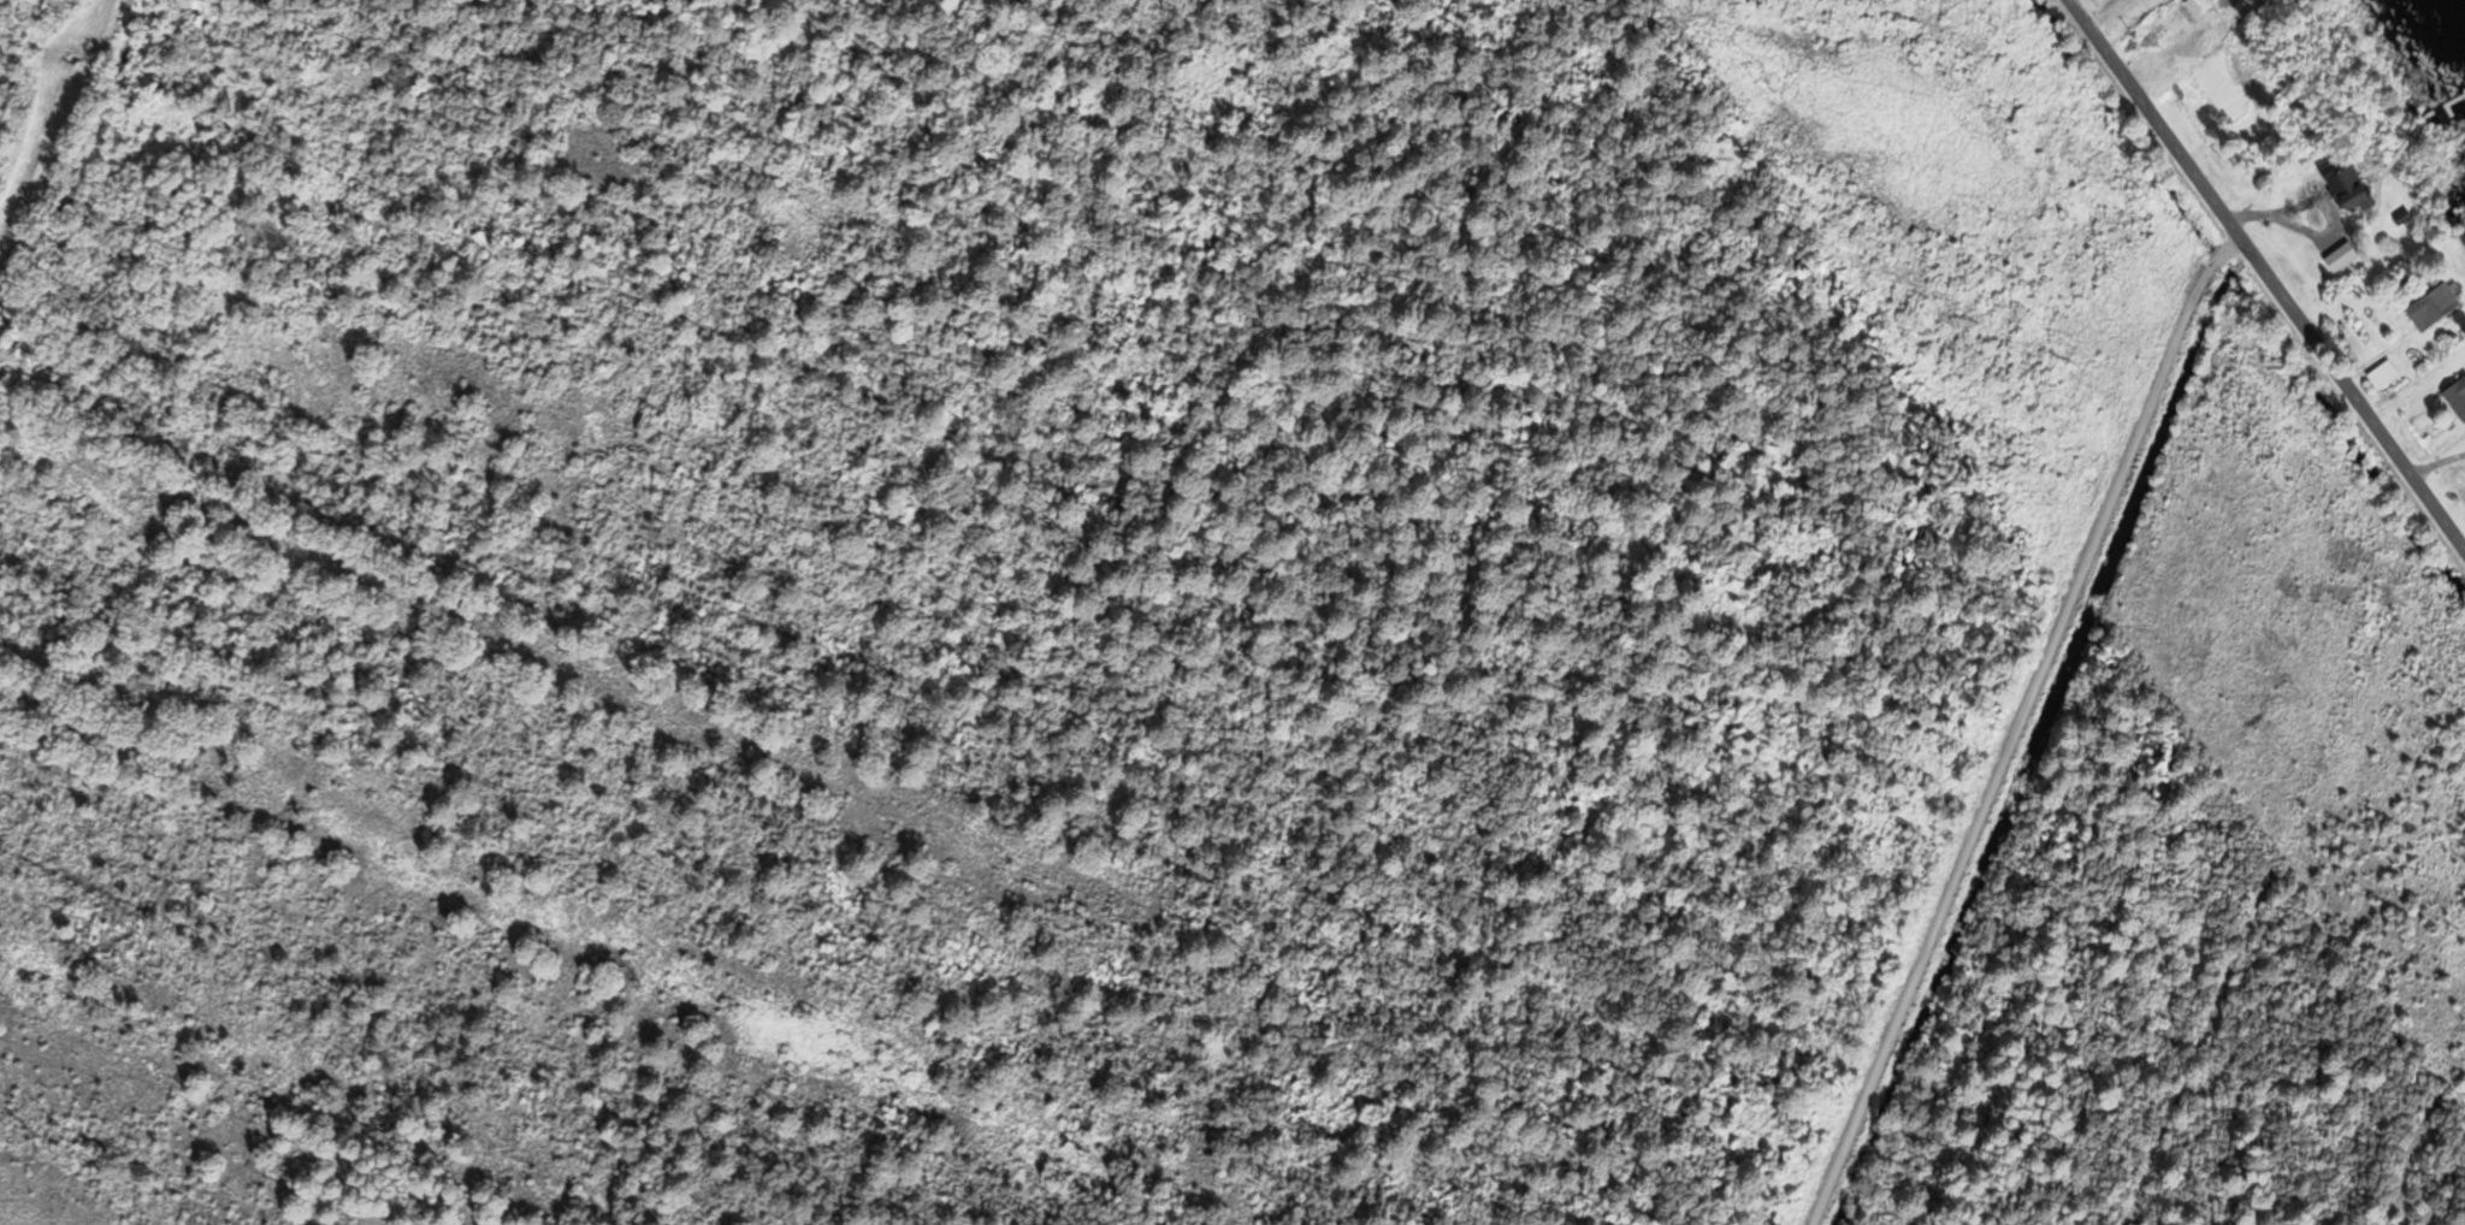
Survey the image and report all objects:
road: (58, 131)
building: (2345, 189)
road: (2268, 273)
building: (2429, 307)
building: (2455, 397)
road: (2018, 726)

